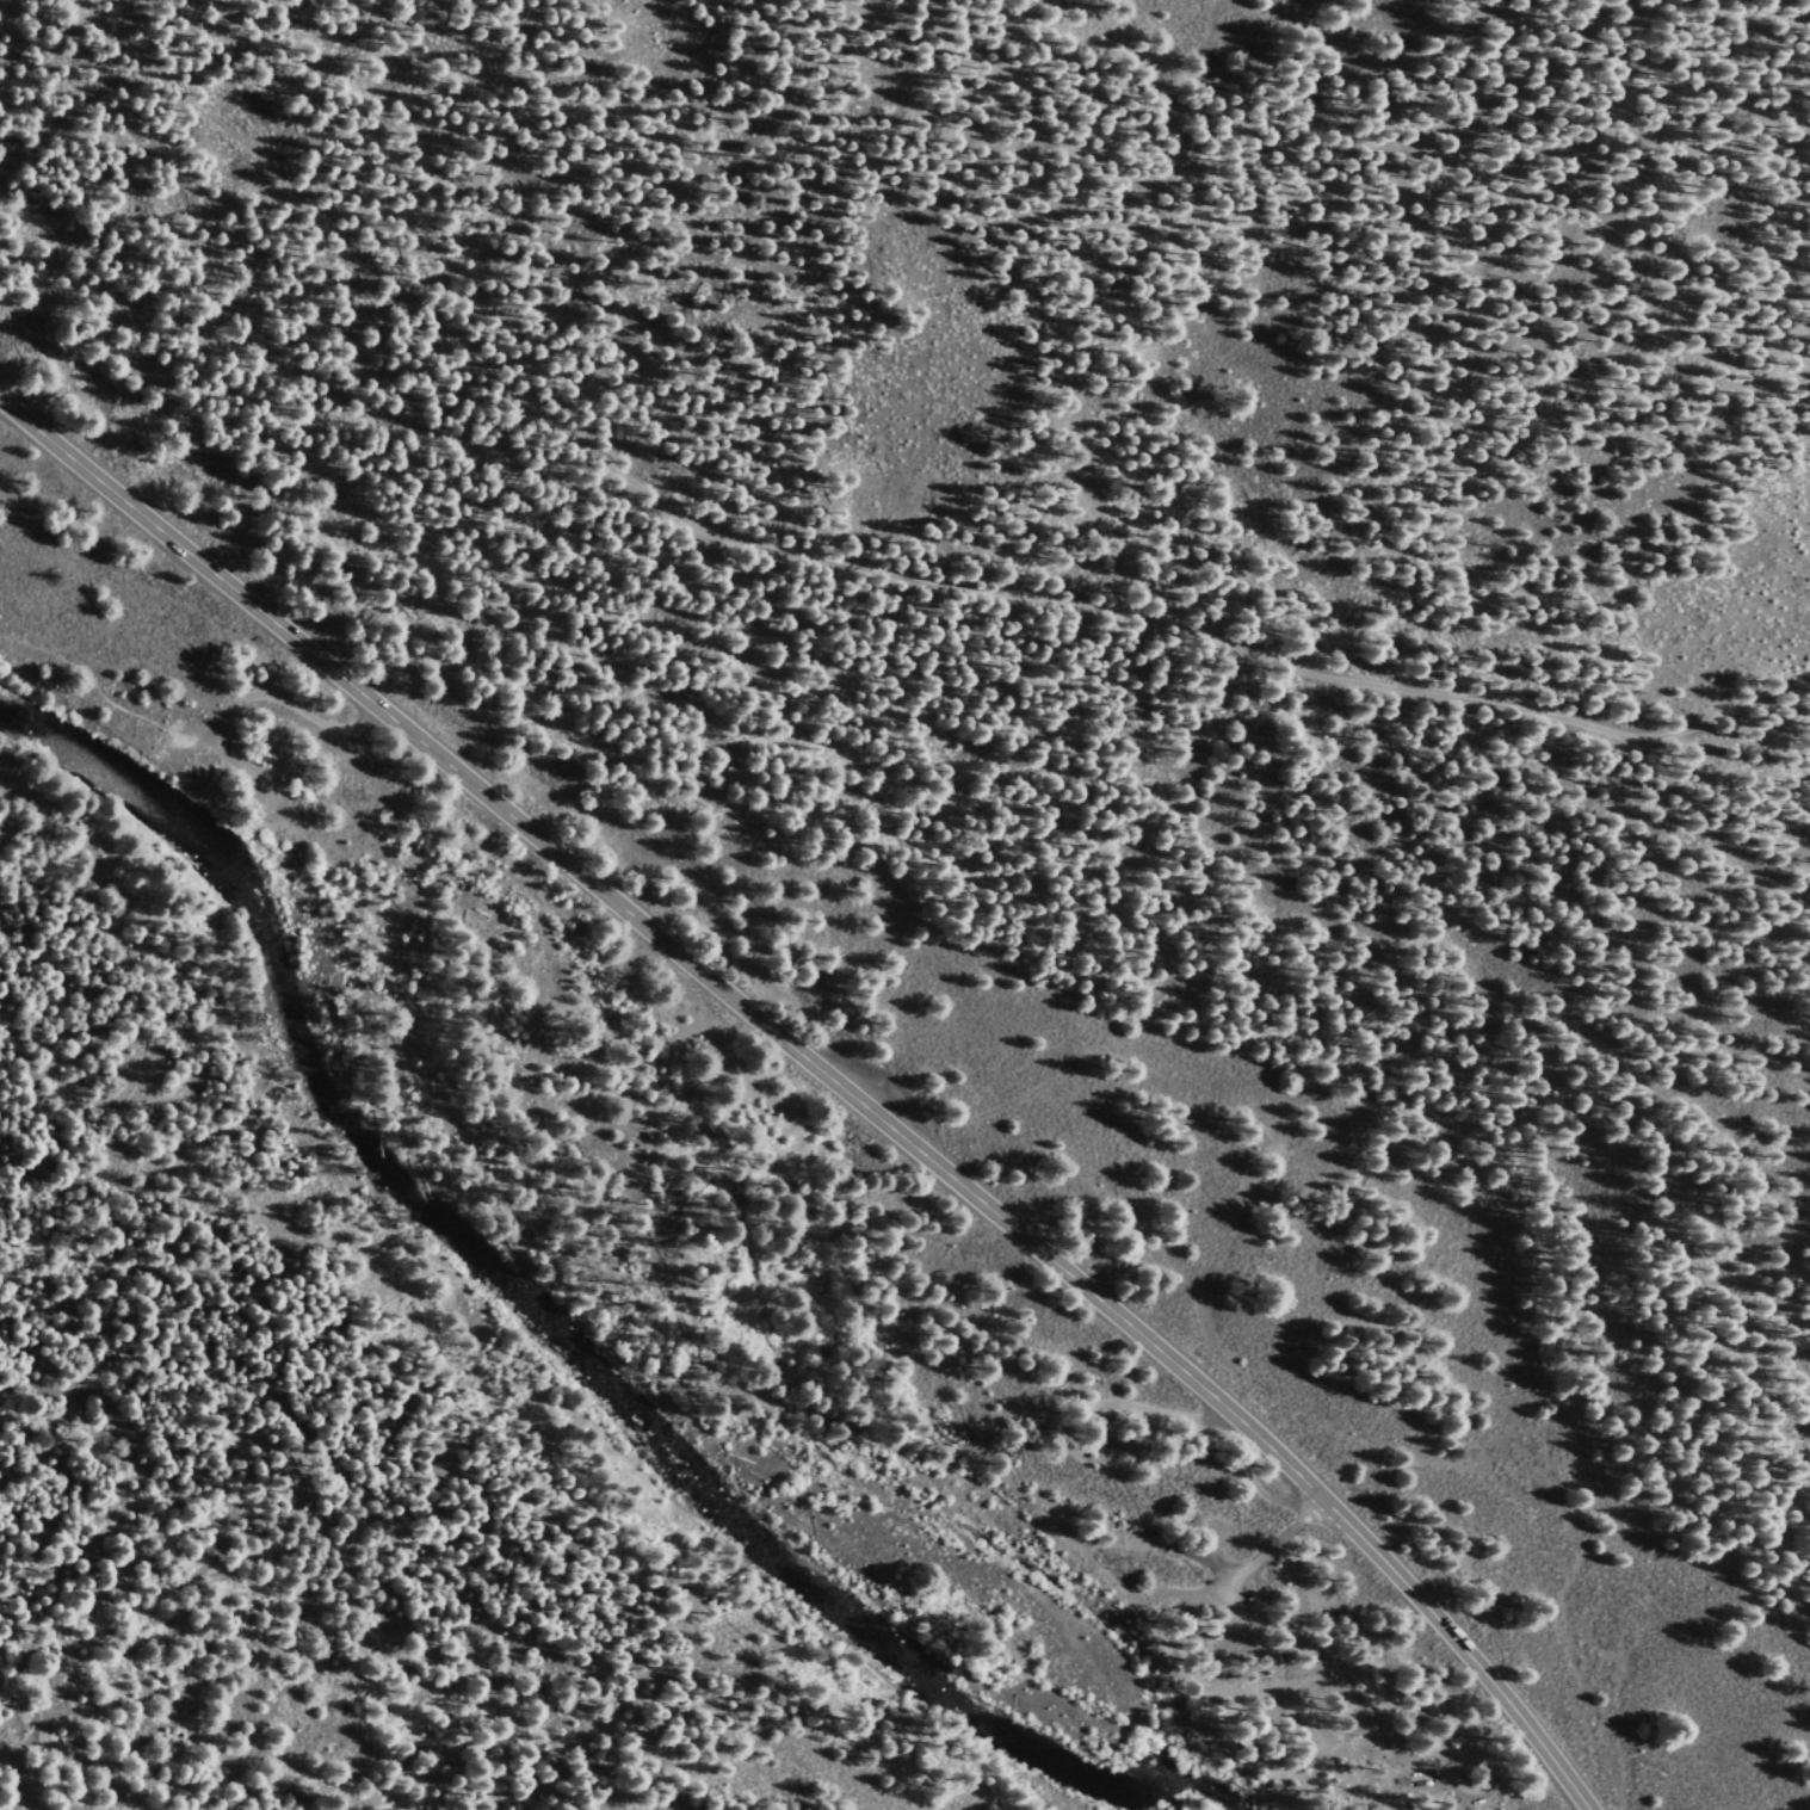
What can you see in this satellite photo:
road: (332, 228)
road: (1204, 607)
road: (101, 694)
road: (239, 698)
road: (823, 1071)
river: (544, 1329)
road: (792, 1400)
road: (1272, 1545)
road: (1397, 1711)

